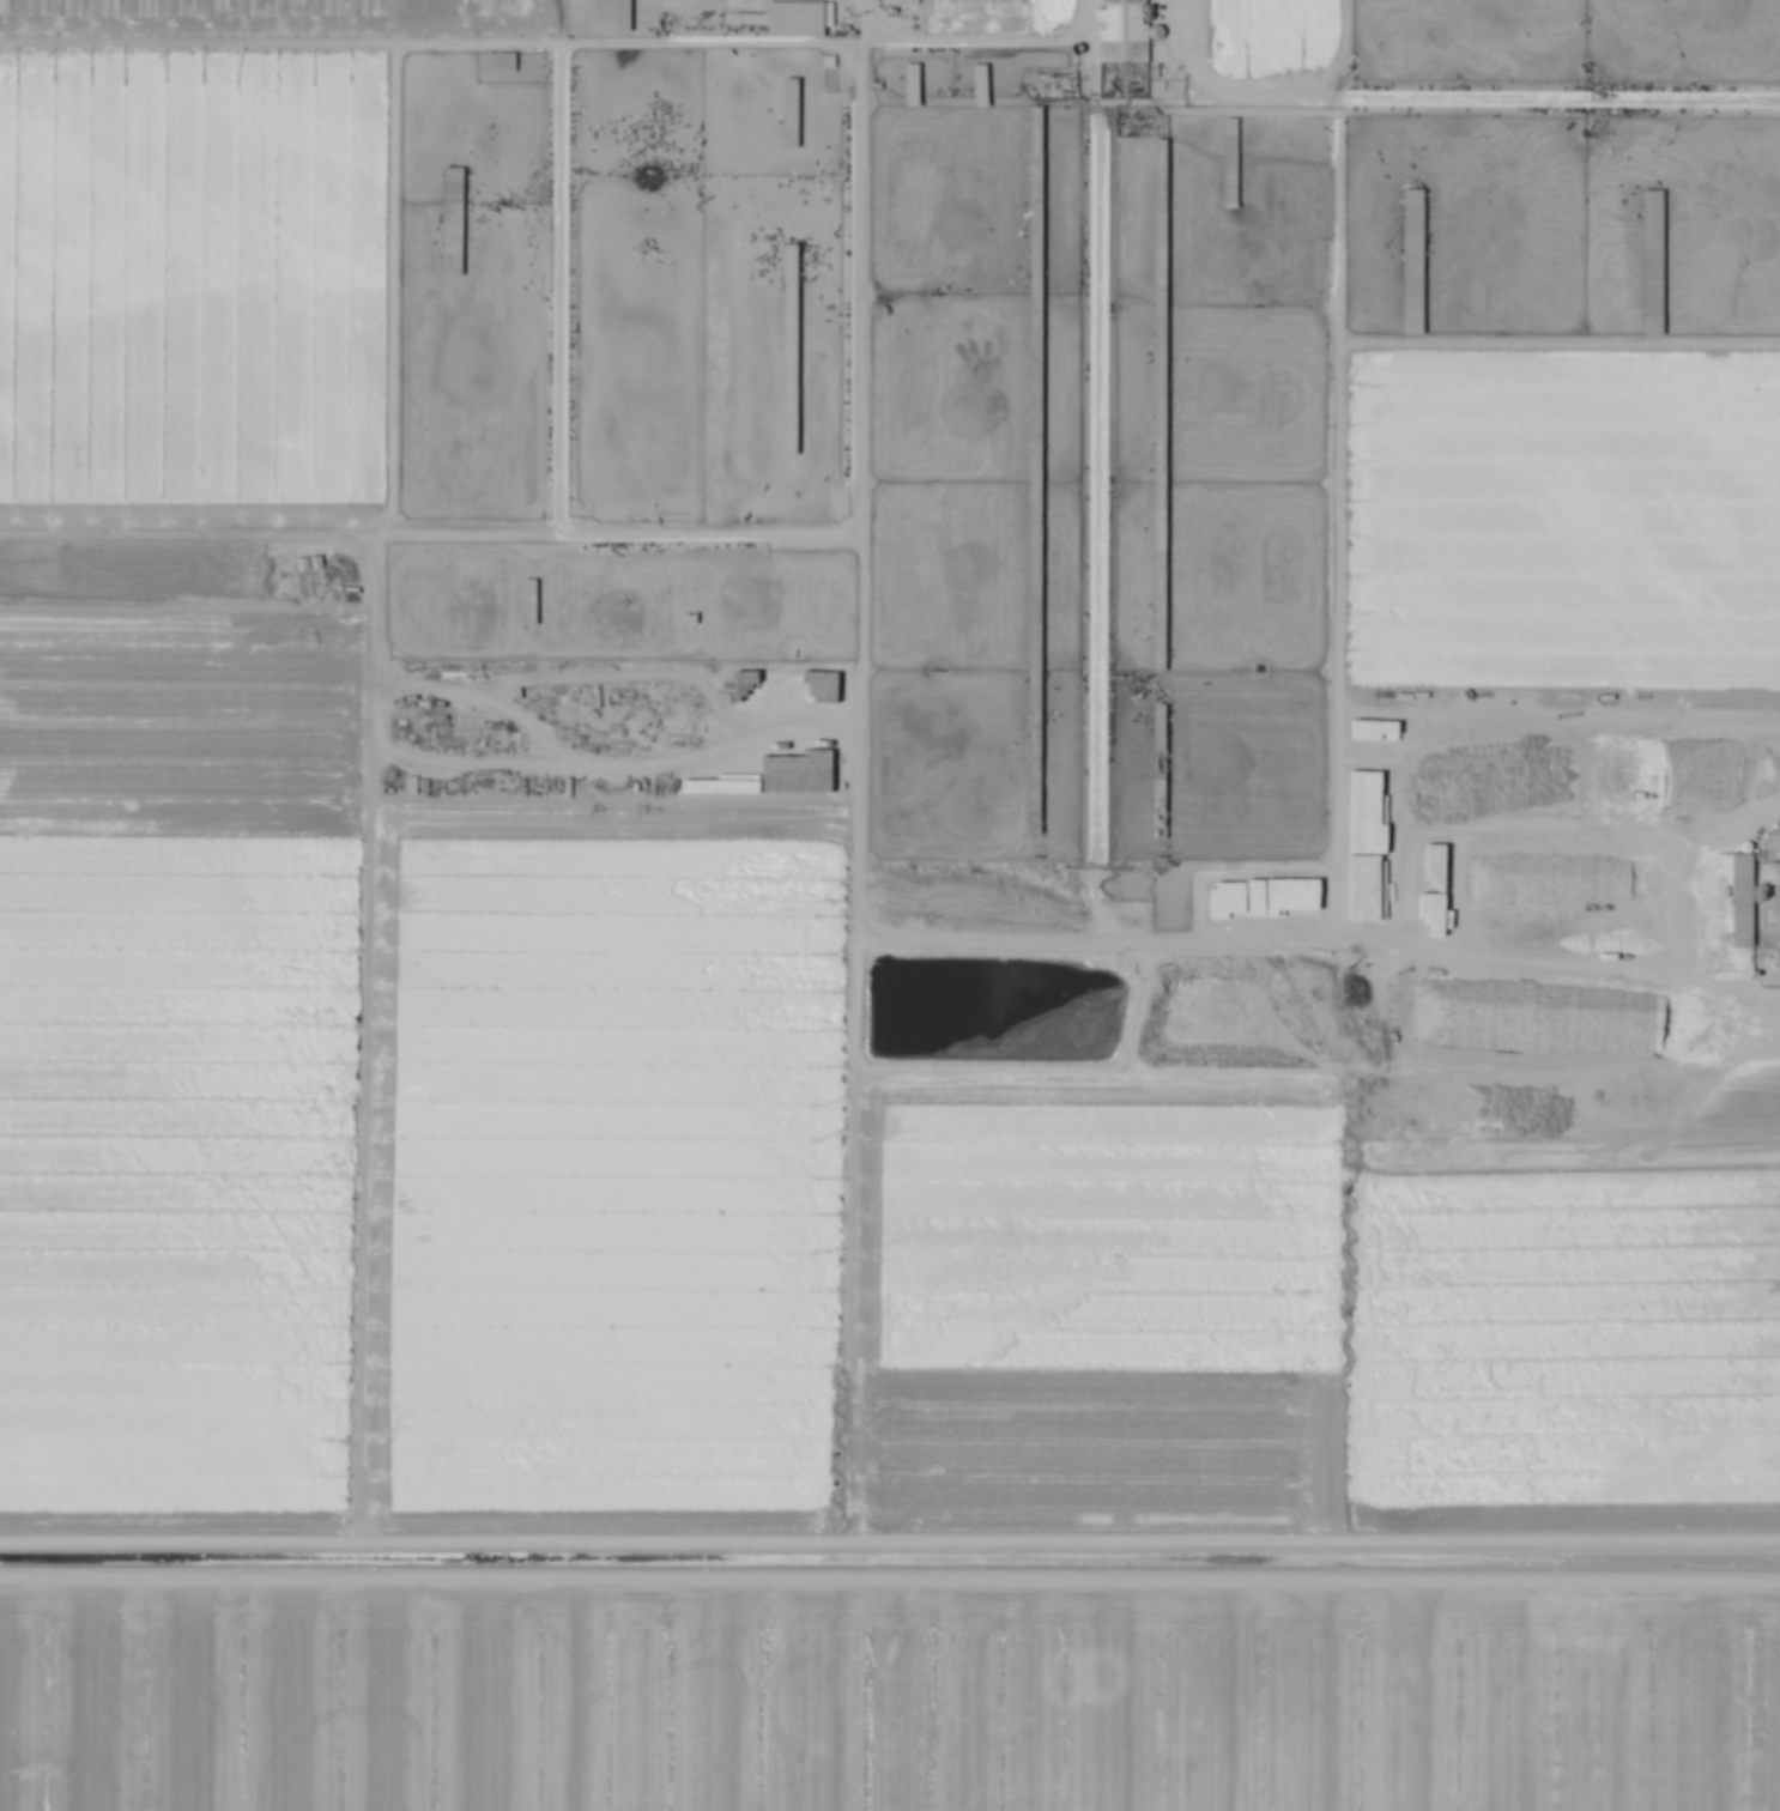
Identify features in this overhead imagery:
building: (797, 18)
building: (1120, 20)
road: (979, 38)
road: (434, 42)
building: (504, 62)
building: (1651, 252)
road: (690, 538)
road: (619, 764)
building: (1739, 900)
road: (1665, 904)
crop: (720, 1198)
road: (890, 1542)

